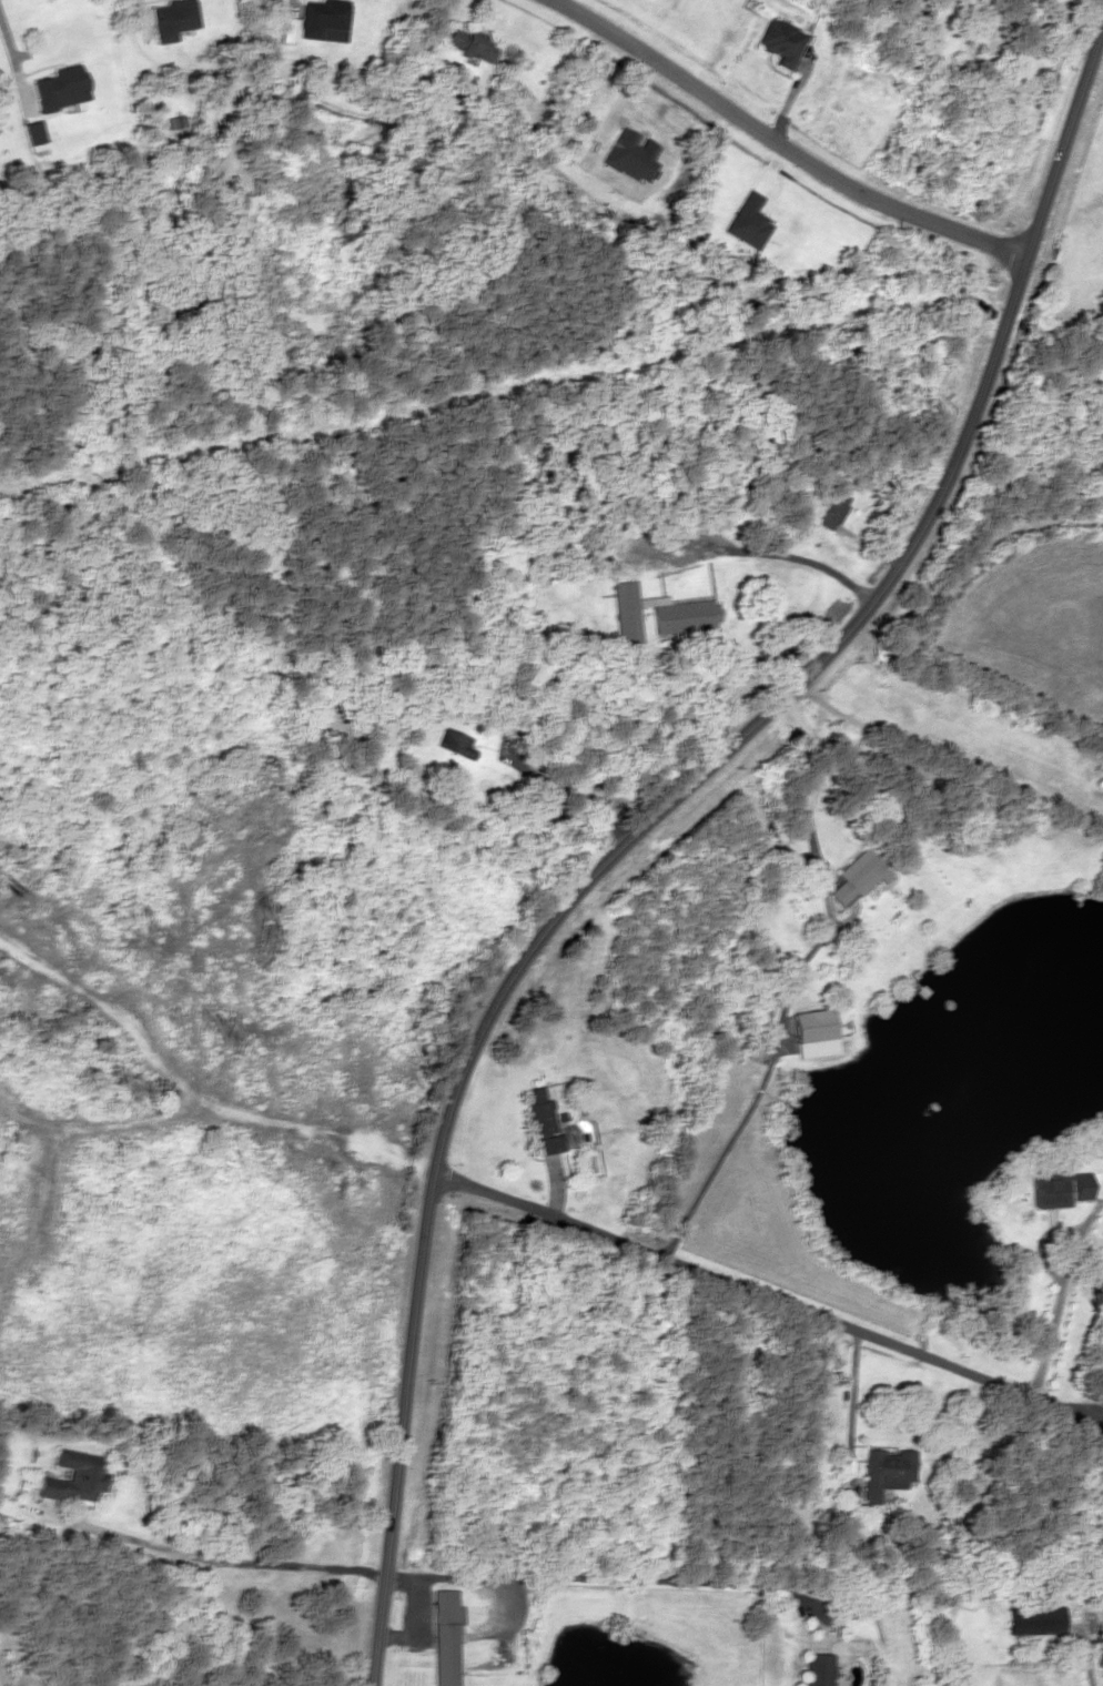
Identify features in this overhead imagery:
building: (320, 16)
building: (171, 18)
building: (781, 41)
building: (467, 42)
building: (58, 88)
road: (773, 147)
building: (828, 507)
building: (624, 612)
building: (680, 615)
building: (455, 741)
road: (649, 819)
building: (856, 876)
building: (812, 1028)
building: (540, 1120)
building: (1056, 1190)
road: (752, 1292)
building: (888, 1472)
building: (74, 1477)
building: (1035, 1621)
building: (444, 1636)
building: (817, 1669)

